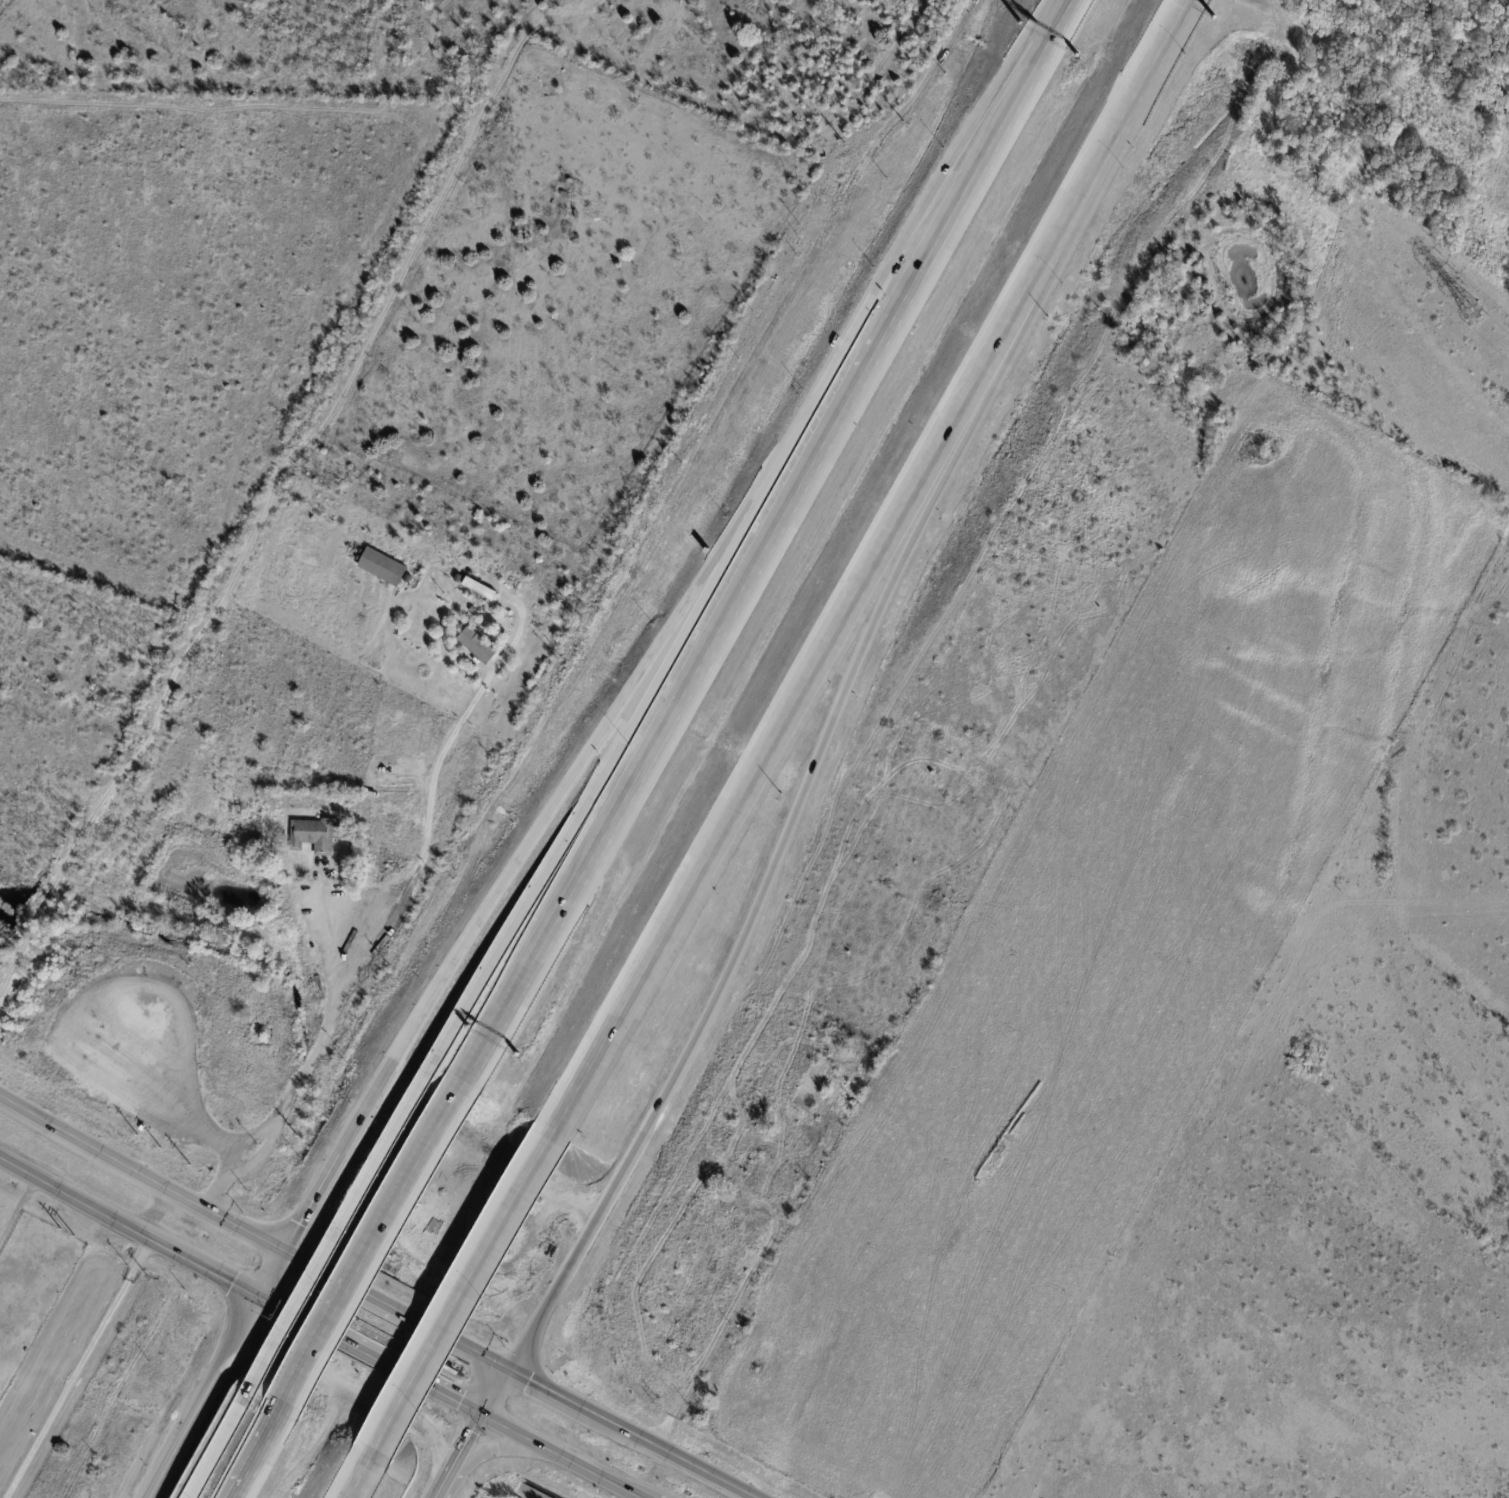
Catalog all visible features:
road: (1060, 14)
building: (568, 195)
power tower: (1471, 309)
road: (877, 554)
road: (759, 555)
building: (386, 568)
building: (480, 588)
building: (474, 611)
road: (666, 638)
building: (480, 646)
road: (657, 674)
road: (783, 843)
building: (321, 847)
road: (390, 920)
building: (857, 1046)
building: (763, 1062)
building: (814, 1085)
road: (412, 1107)
building: (733, 1140)
road: (102, 1153)
road: (81, 1202)
road: (17, 1208)
road: (243, 1230)
road: (377, 1246)
traffic signals: (281, 1251)
road: (211, 1270)
road: (269, 1272)
road: (328, 1275)
road: (469, 1291)
traffic signals: (257, 1294)
road: (267, 1299)
road: (424, 1325)
road: (716, 1332)
road: (344, 1339)
road: (492, 1361)
road: (77, 1368)
traffic signals: (511, 1371)
road: (552, 1391)
road: (497, 1393)
road: (447, 1394)
road: (201, 1396)
traffic signals: (484, 1416)
road: (218, 1448)
road: (465, 1448)
road: (494, 1451)
road: (259, 1453)
road: (676, 1454)
road: (562, 1456)
road: (363, 1484)
road: (441, 1489)

